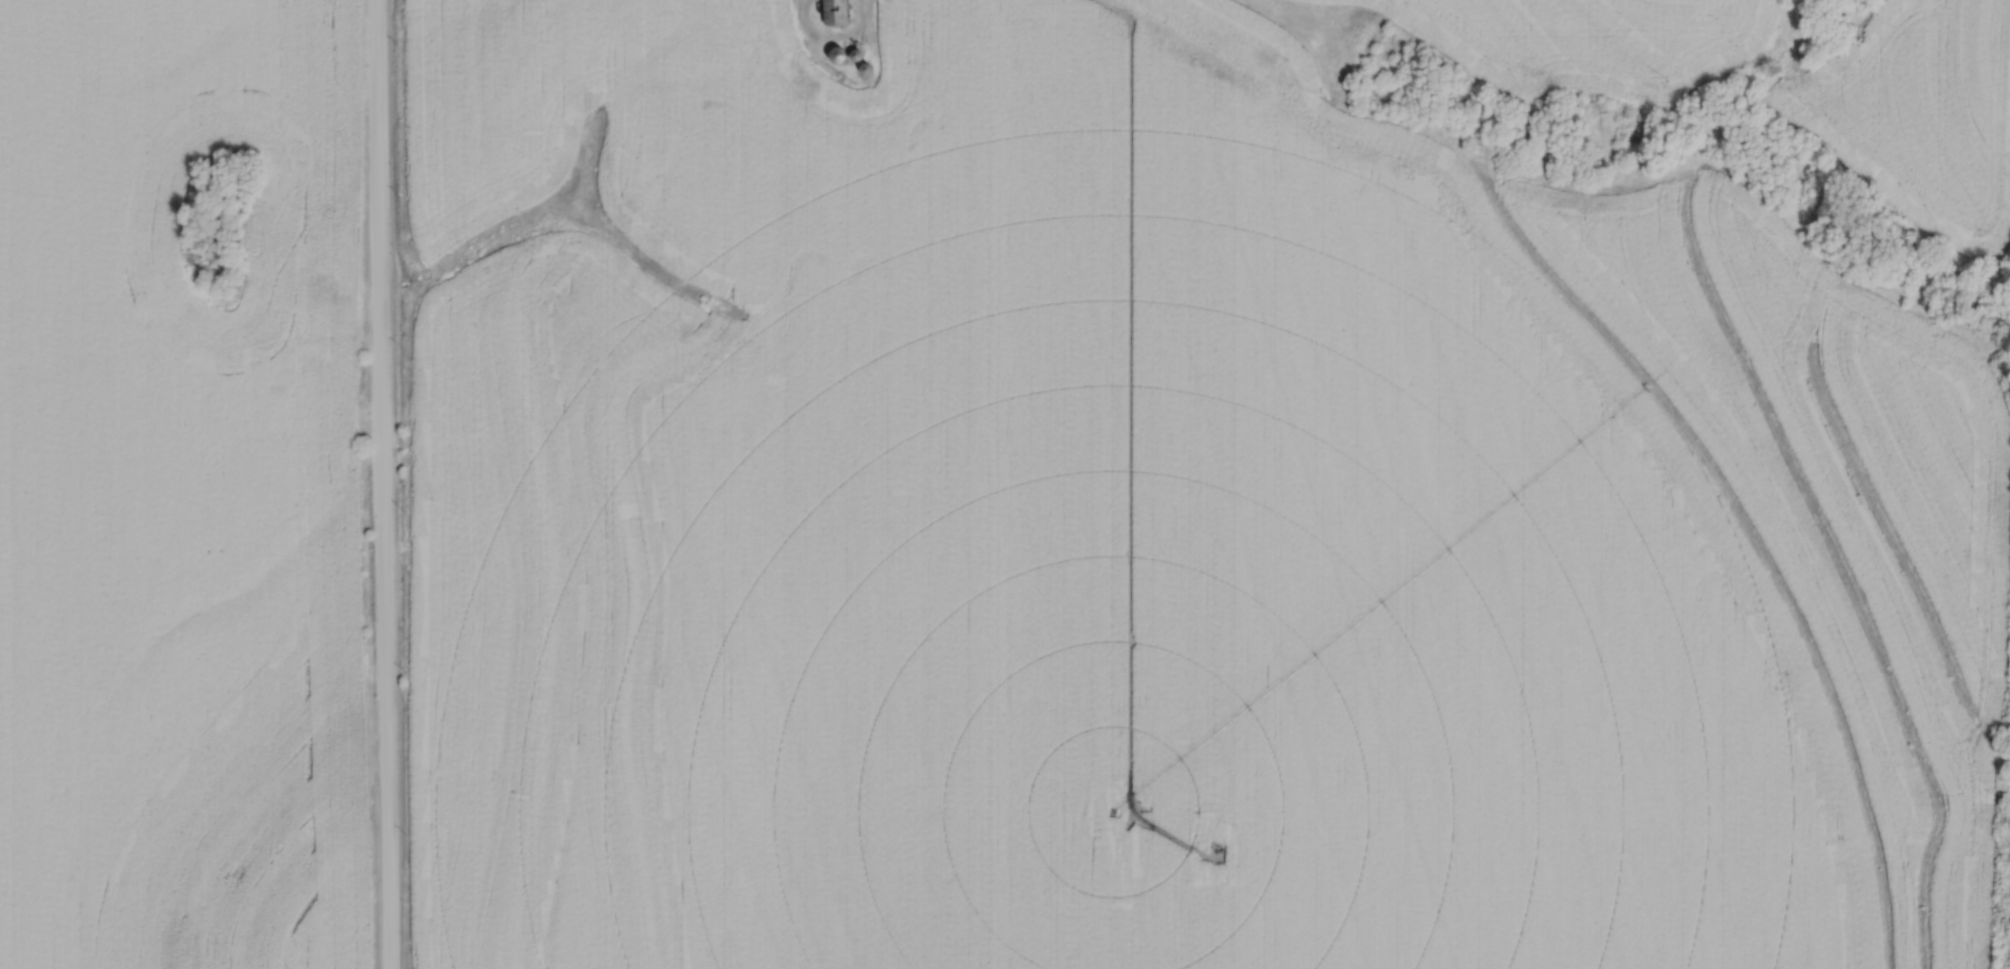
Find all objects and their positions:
building: (830, 11)
building: (830, 53)
road: (378, 484)

